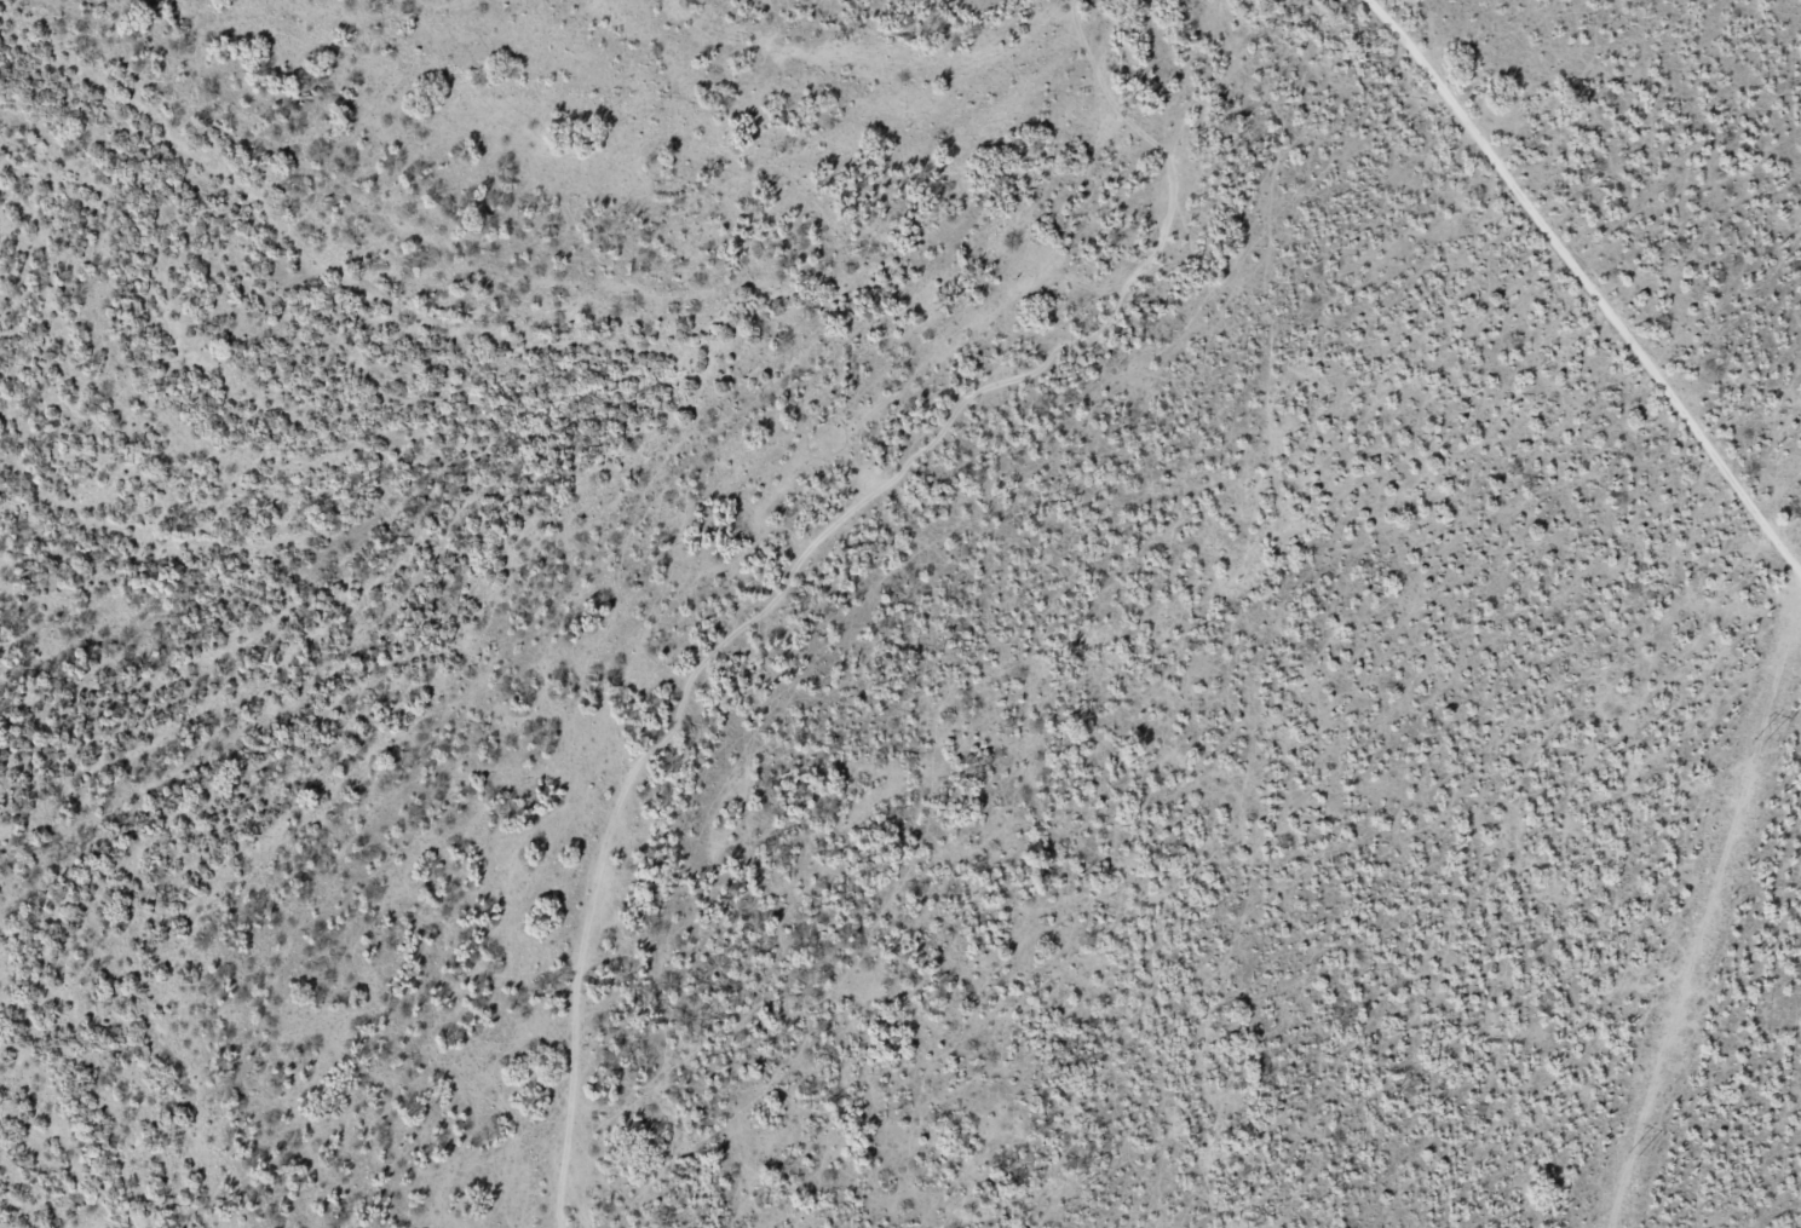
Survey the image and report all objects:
road: (1570, 296)
power tower: (1756, 739)
power tower: (1629, 1152)

